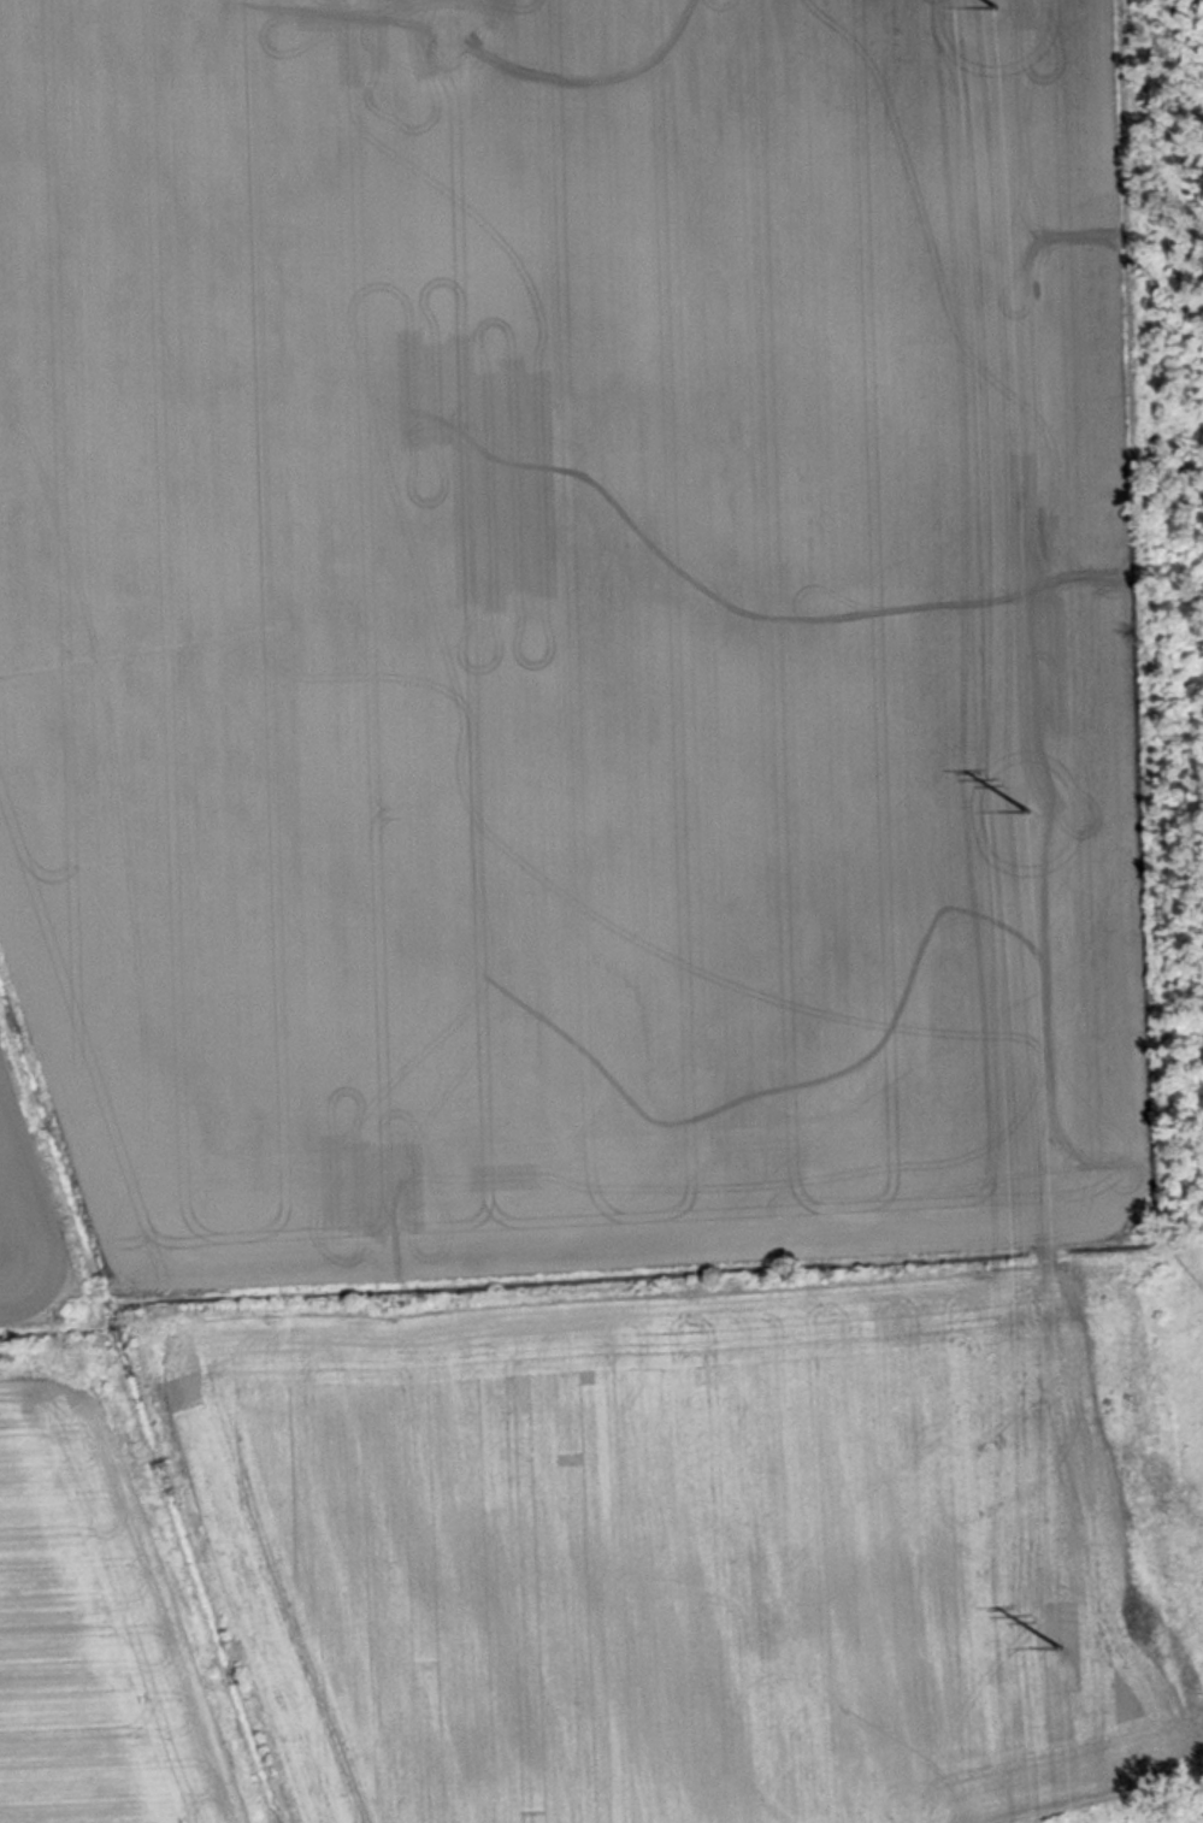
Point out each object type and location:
power tower: (1025, 802)
power tower: (1051, 1640)

